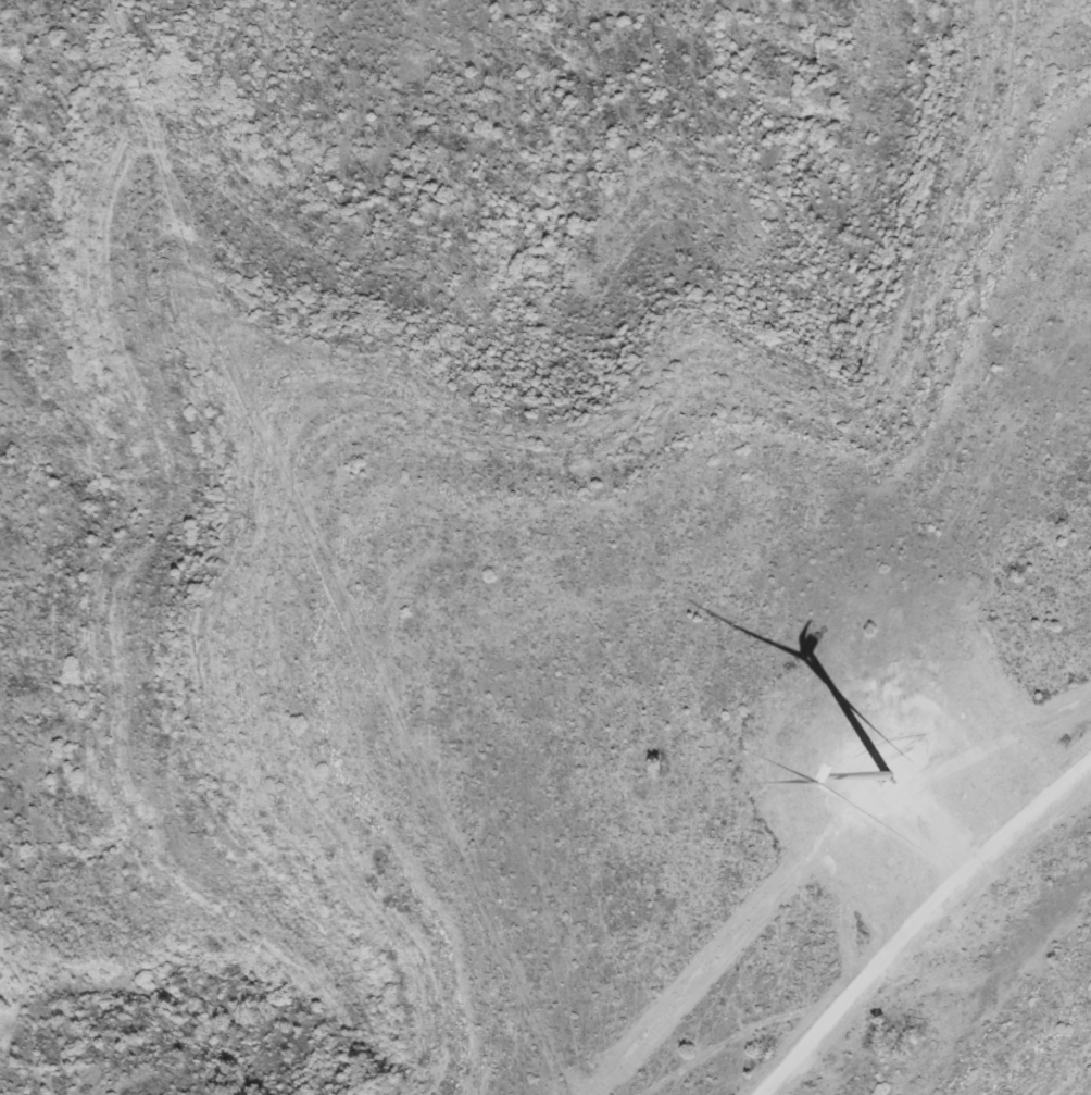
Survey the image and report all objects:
wind turbine: (886, 777)

